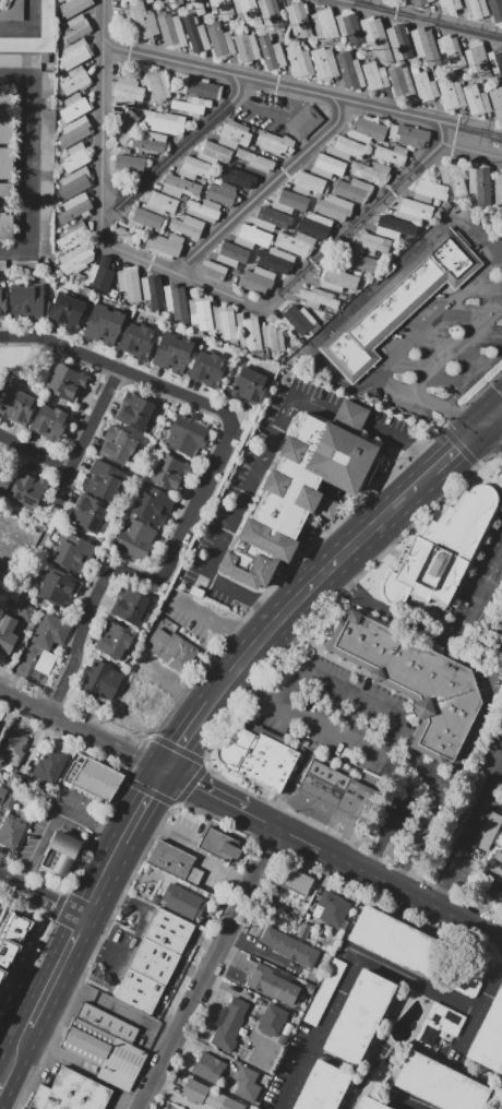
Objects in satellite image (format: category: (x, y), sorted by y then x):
building: (148, 1)
building: (420, 2)
building: (175, 3)
building: (450, 5)
building: (198, 7)
building: (73, 8)
building: (223, 8)
building: (477, 9)
building: (495, 10)
building: (248, 11)
building: (270, 14)
road: (419, 17)
building: (47, 19)
parking lot: (47, 19)
building: (298, 19)
building: (143, 21)
building: (324, 25)
road: (29, 27)
building: (75, 28)
building: (350, 28)
building: (171, 32)
building: (194, 34)
building: (376, 38)
building: (219, 39)
building: (398, 41)
building: (425, 46)
building: (246, 47)
building: (451, 51)
building: (271, 52)
building: (75, 55)
building: (477, 59)
building: (20, 60)
parking lot: (20, 60)
building: (298, 60)
building: (323, 62)
building: (495, 62)
building: (349, 70)
building: (374, 75)
building: (74, 80)
building: (399, 81)
road: (271, 83)
building: (48, 84)
parking lot: (48, 84)
building: (155, 85)
building: (425, 86)
building: (203, 90)
building: (127, 92)
building: (451, 93)
building: (497, 99)
building: (476, 100)
building: (191, 106)
building: (74, 107)
building: (5, 117)
building: (303, 122)
building: (164, 124)
building: (124, 127)
building: (77, 130)
building: (367, 130)
road: (481, 130)
road: (453, 132)
building: (234, 134)
building: (408, 135)
building: (151, 142)
building: (274, 142)
building: (345, 148)
road: (479, 148)
road: (178, 150)
building: (214, 152)
building: (390, 154)
building: (75, 157)
building: (255, 159)
building: (7, 163)
building: (129, 163)
road: (28, 164)
building: (327, 166)
building: (194, 168)
building: (371, 171)
building: (235, 177)
building: (453, 177)
building: (46, 183)
parking lot: (46, 183)
building: (74, 183)
building: (308, 183)
building: (479, 183)
building: (180, 187)
road: (267, 187)
building: (352, 190)
building: (7, 191)
building: (428, 191)
building: (498, 192)
building: (222, 193)
building: (160, 202)
building: (290, 202)
building: (333, 206)
building: (74, 207)
building: (203, 210)
building: (414, 210)
building: (145, 218)
building: (271, 218)
building: (186, 226)
building: (315, 226)
building: (393, 226)
building: (5, 228)
building: (73, 236)
building: (127, 236)
building: (252, 237)
building: (296, 243)
building: (370, 243)
building: (164, 245)
building: (231, 254)
building: (75, 259)
building: (275, 260)
building: (359, 262)
building: (2, 266)
parking lot: (2, 266)
building: (24, 266)
parking lot: (24, 266)
building: (213, 270)
building: (100, 275)
building: (81, 276)
road: (193, 278)
building: (337, 279)
building: (256, 282)
building: (130, 284)
road: (376, 286)
building: (153, 293)
building: (319, 298)
building: (26, 300)
building: (177, 301)
building: (397, 302)
building: (2, 303)
building: (67, 312)
building: (200, 314)
building: (298, 320)
road: (435, 320)
building: (224, 323)
building: (104, 325)
building: (248, 332)
parking lot: (449, 334)
building: (273, 338)
building: (136, 341)
road: (455, 350)
building: (172, 354)
building: (207, 369)
road: (473, 380)
building: (65, 383)
building: (250, 384)
road: (390, 387)
road: (426, 402)
building: (19, 406)
building: (136, 410)
building: (349, 416)
road: (461, 416)
road: (490, 416)
building: (51, 425)
road: (490, 432)
road: (84, 434)
building: (186, 434)
building: (118, 444)
road: (456, 444)
road: (34, 452)
road: (265, 453)
building: (170, 473)
building: (5, 477)
building: (101, 479)
road: (418, 479)
road: (206, 480)
building: (307, 484)
building: (28, 489)
parking lot: (238, 499)
building: (151, 503)
building: (89, 514)
building: (134, 539)
building: (442, 550)
building: (72, 552)
building: (58, 589)
road: (299, 592)
road: (478, 595)
building: (130, 606)
building: (26, 613)
road: (216, 621)
road: (405, 623)
building: (50, 631)
building: (7, 634)
building: (113, 640)
building: (170, 648)
road: (500, 655)
building: (46, 663)
building: (100, 680)
building: (414, 680)
road: (351, 693)
road: (200, 712)
road: (321, 722)
road: (82, 728)
parking lot: (360, 741)
building: (13, 746)
road: (177, 747)
building: (259, 758)
building: (49, 767)
traffic signals: (164, 772)
building: (93, 778)
building: (332, 789)
road: (204, 790)
building: (2, 792)
building: (471, 794)
road: (147, 798)
building: (9, 802)
road: (58, 813)
parking lot: (74, 814)
road: (391, 822)
road: (423, 822)
road: (165, 828)
parking lot: (184, 831)
building: (488, 831)
building: (11, 832)
road: (127, 834)
road: (468, 838)
building: (219, 845)
building: (446, 846)
building: (60, 855)
building: (171, 859)
building: (493, 870)
road: (372, 875)
road: (104, 881)
building: (297, 882)
road: (43, 896)
building: (181, 902)
building: (332, 908)
building: (168, 931)
building: (303, 931)
building: (13, 941)
parking lot: (120, 944)
building: (290, 947)
building: (417, 952)
road: (367, 957)
road: (63, 961)
building: (154, 961)
road: (24, 964)
road: (211, 968)
building: (273, 983)
building: (139, 991)
road: (115, 1009)
road: (37, 1013)
building: (359, 1016)
building: (446, 1017)
building: (272, 1021)
building: (228, 1025)
building: (489, 1037)
building: (105, 1045)
road: (19, 1050)
building: (208, 1068)
parking lot: (48, 1071)
road: (2, 1084)
building: (247, 1084)
building: (439, 1084)
building: (322, 1087)
building: (71, 1093)
building: (202, 1094)
road: (174, 1097)
building: (230, 1104)
building: (368, 1104)
road: (411, 1104)
building: (27, 1108)
building: (171, 1108)

